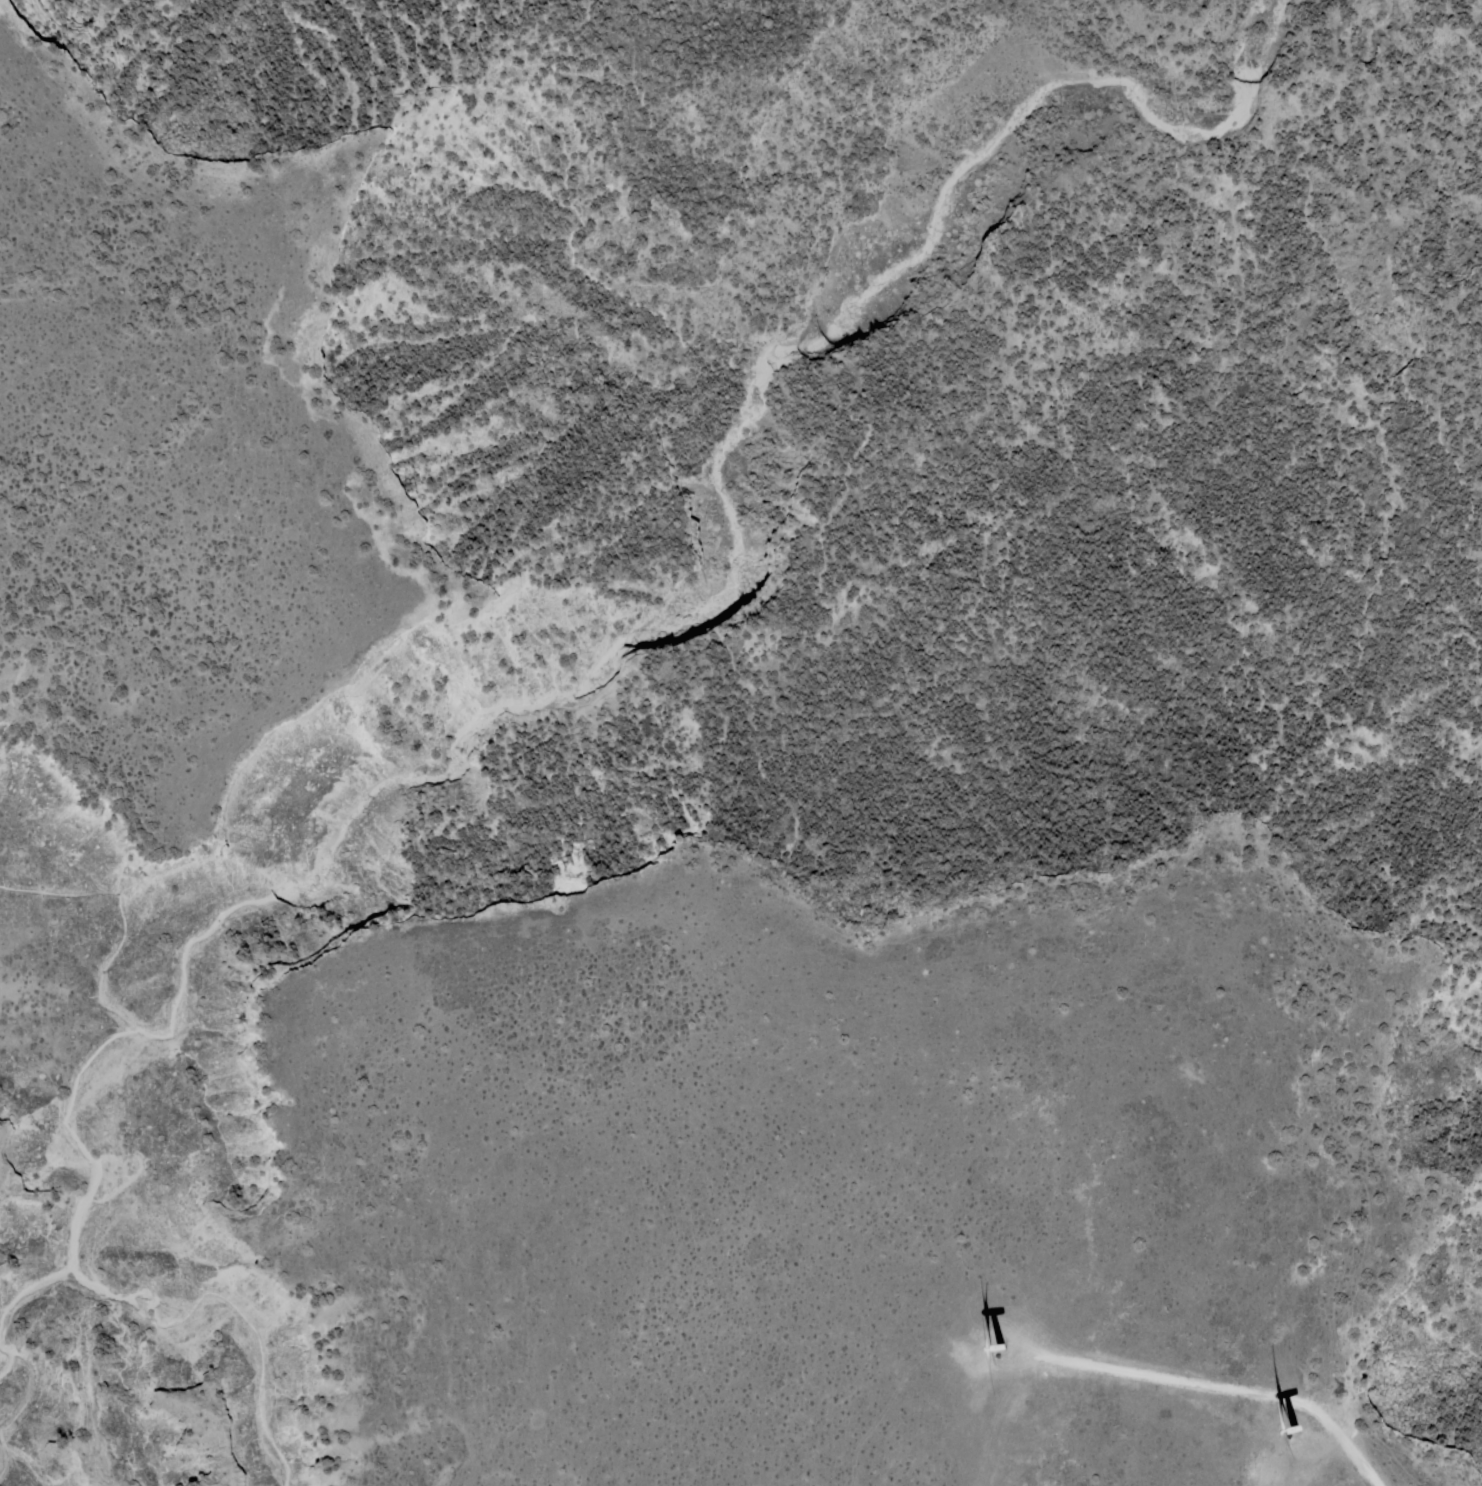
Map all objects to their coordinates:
wind turbine: (998, 1349)
road: (1220, 1387)
wind turbine: (1291, 1432)

